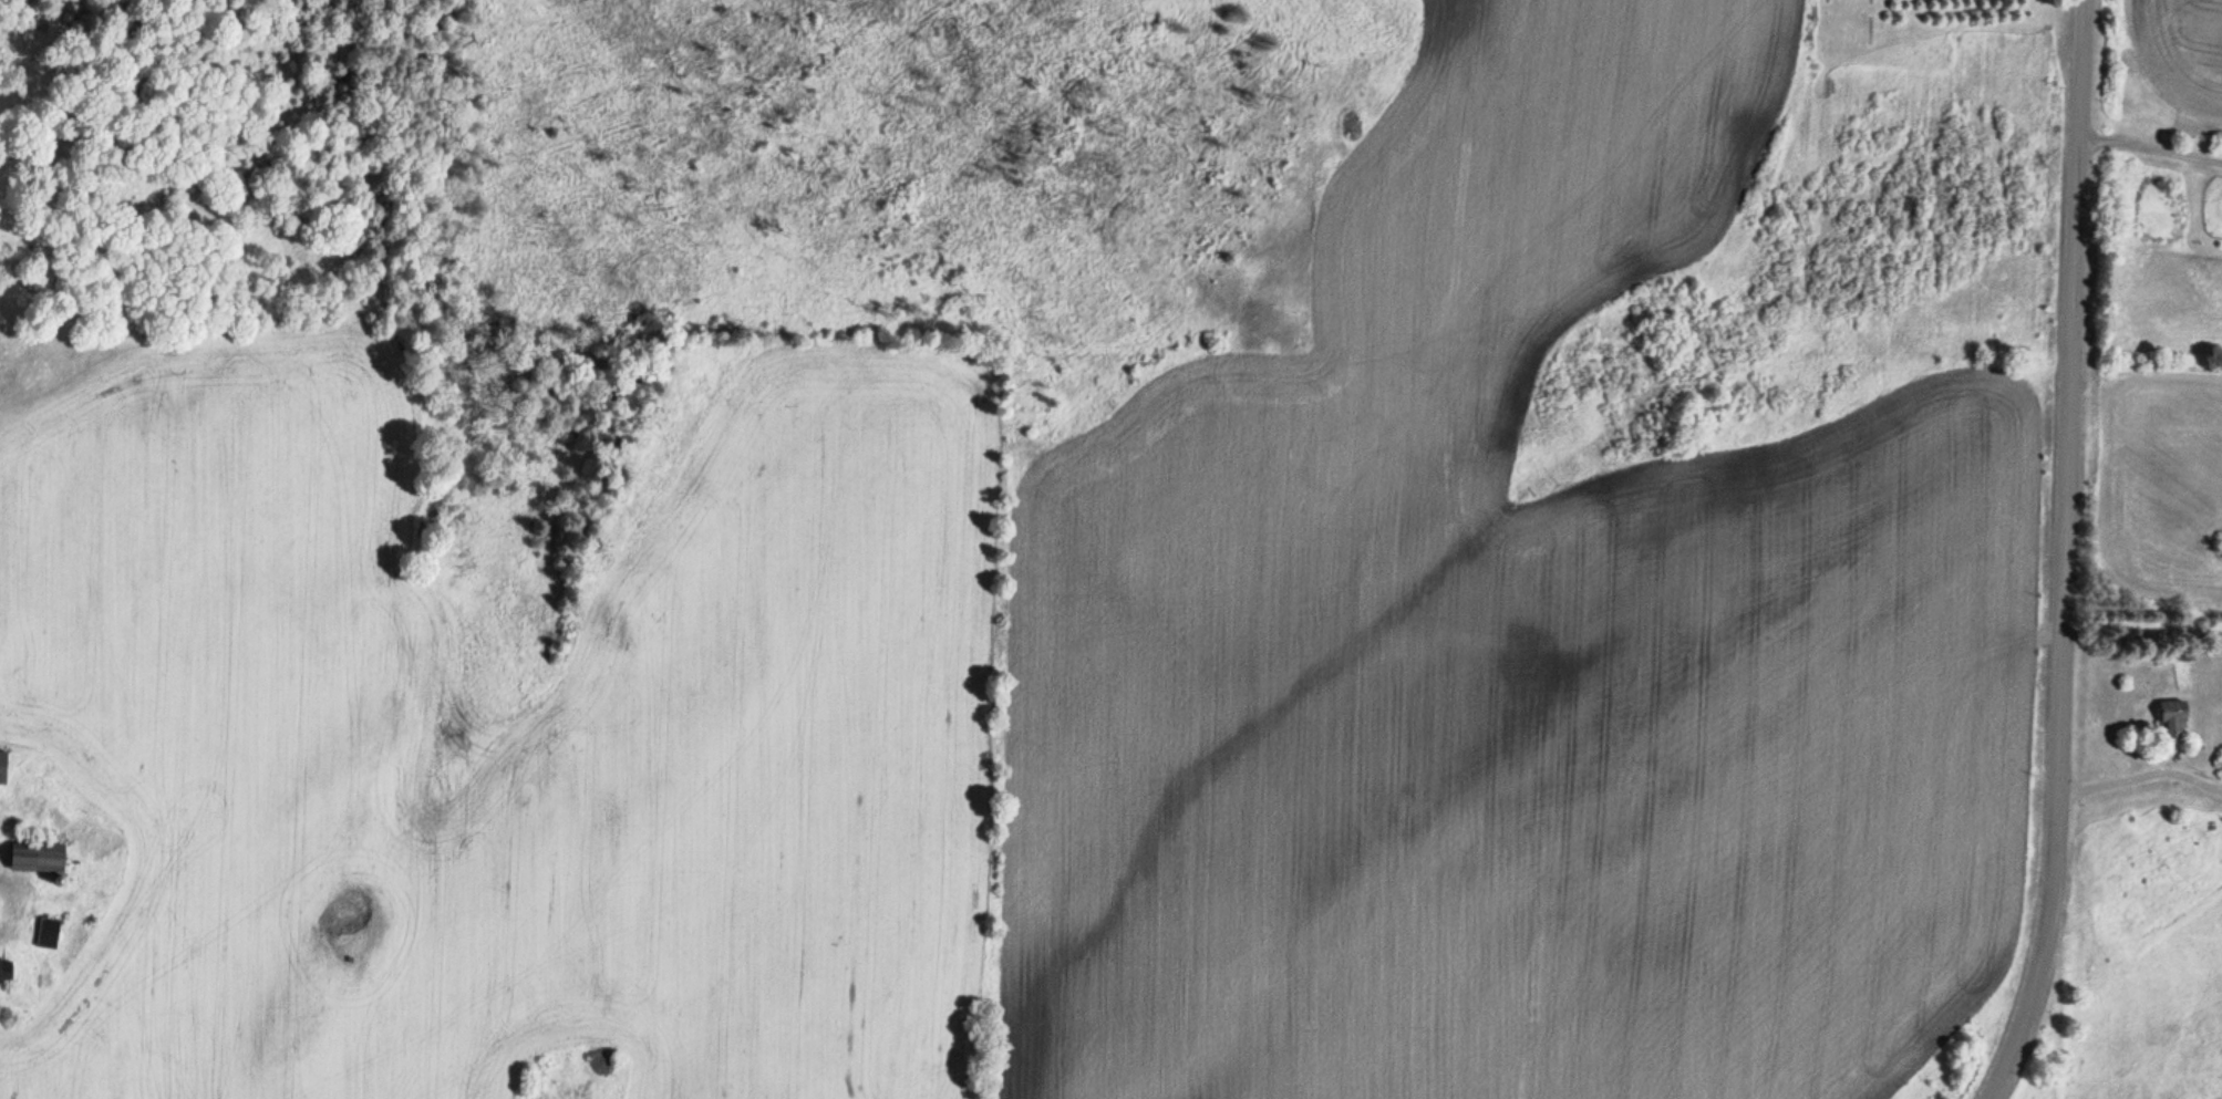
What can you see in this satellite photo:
road: (2147, 151)
road: (2061, 554)
building: (2173, 719)
building: (2, 767)
building: (35, 858)
building: (48, 933)
building: (6, 971)

